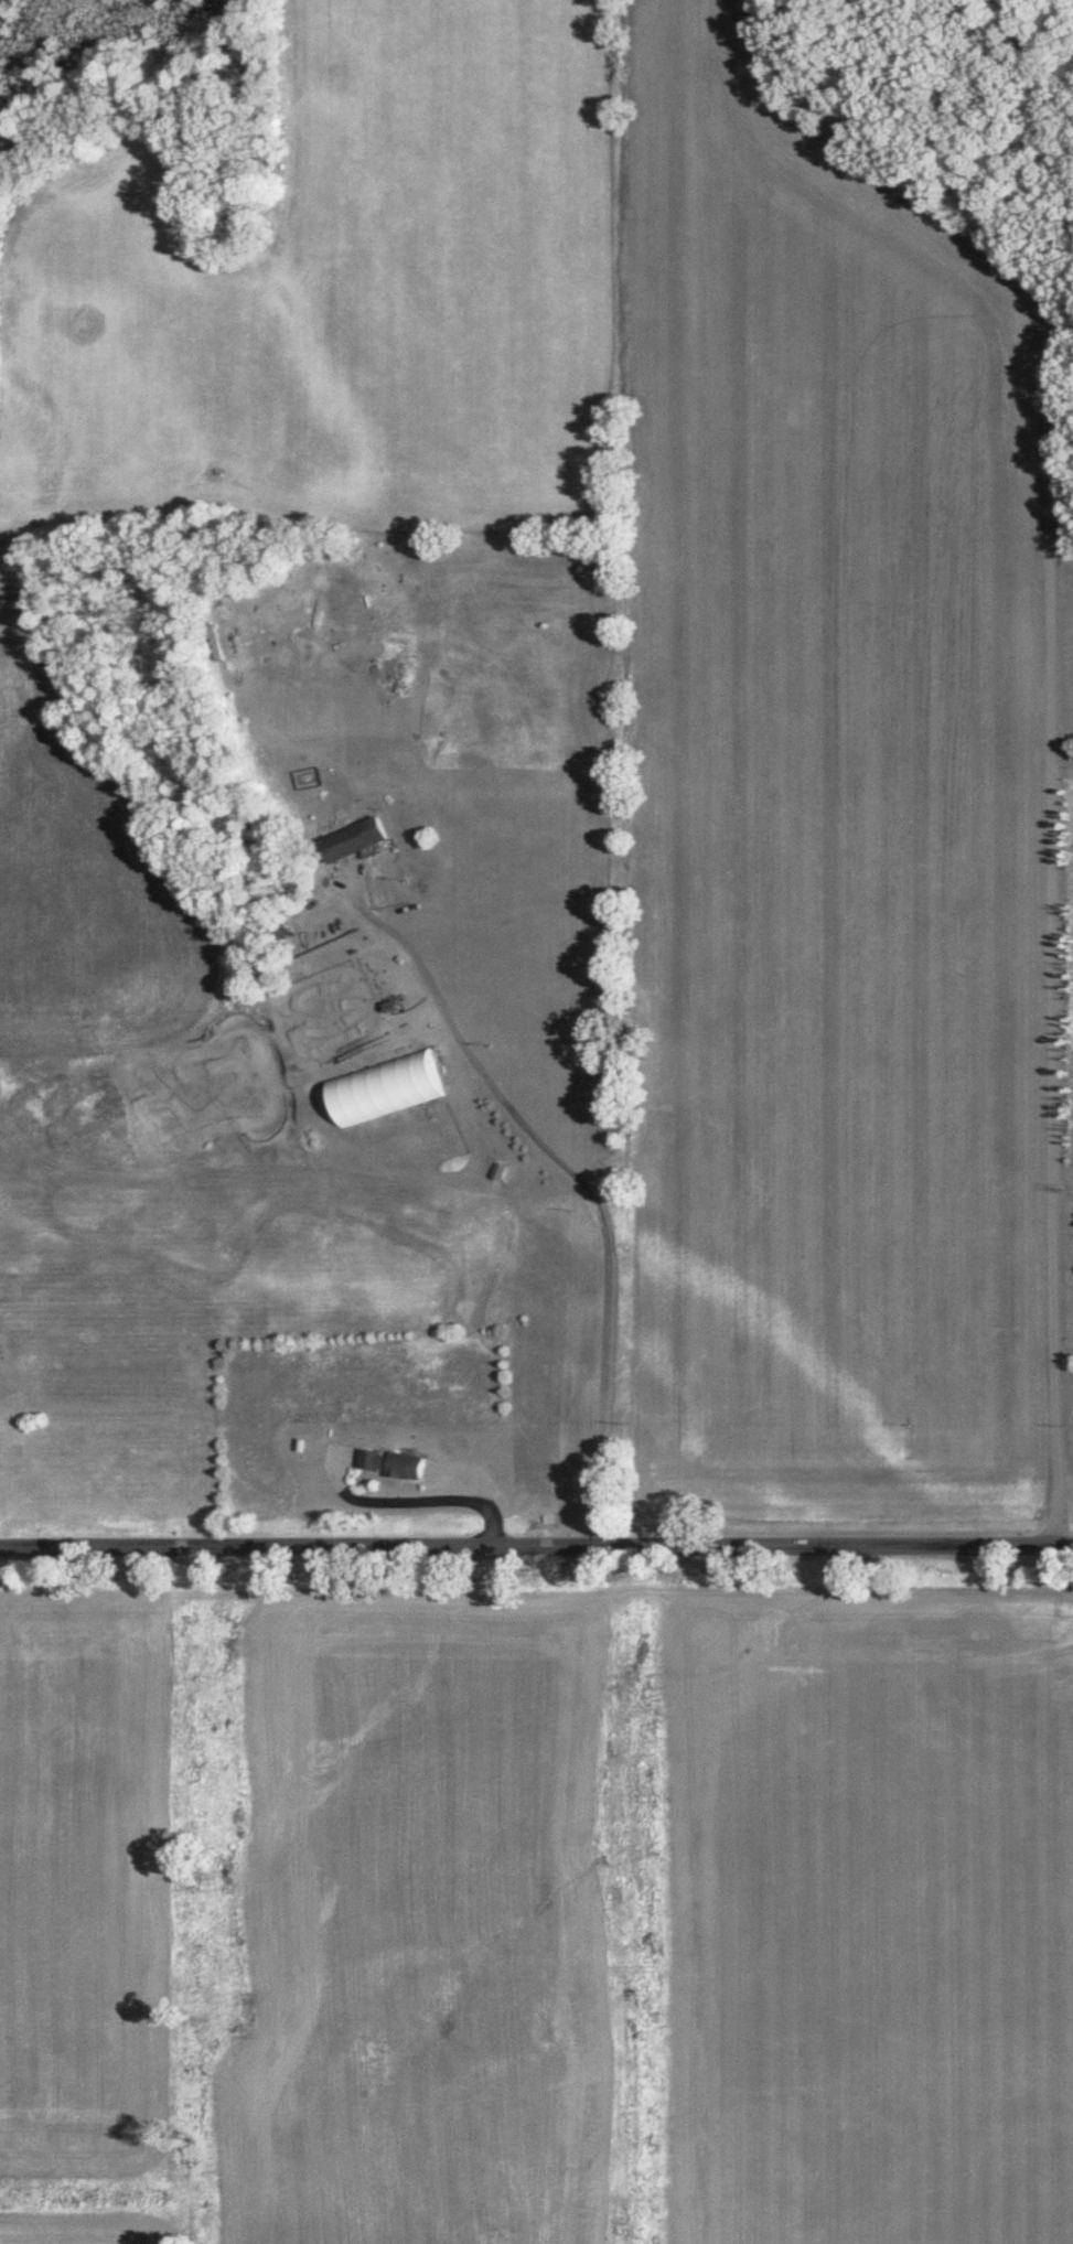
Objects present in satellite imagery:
building: (212, 644)
road: (1058, 722)
building: (348, 841)
building: (386, 1465)
road: (536, 1547)

